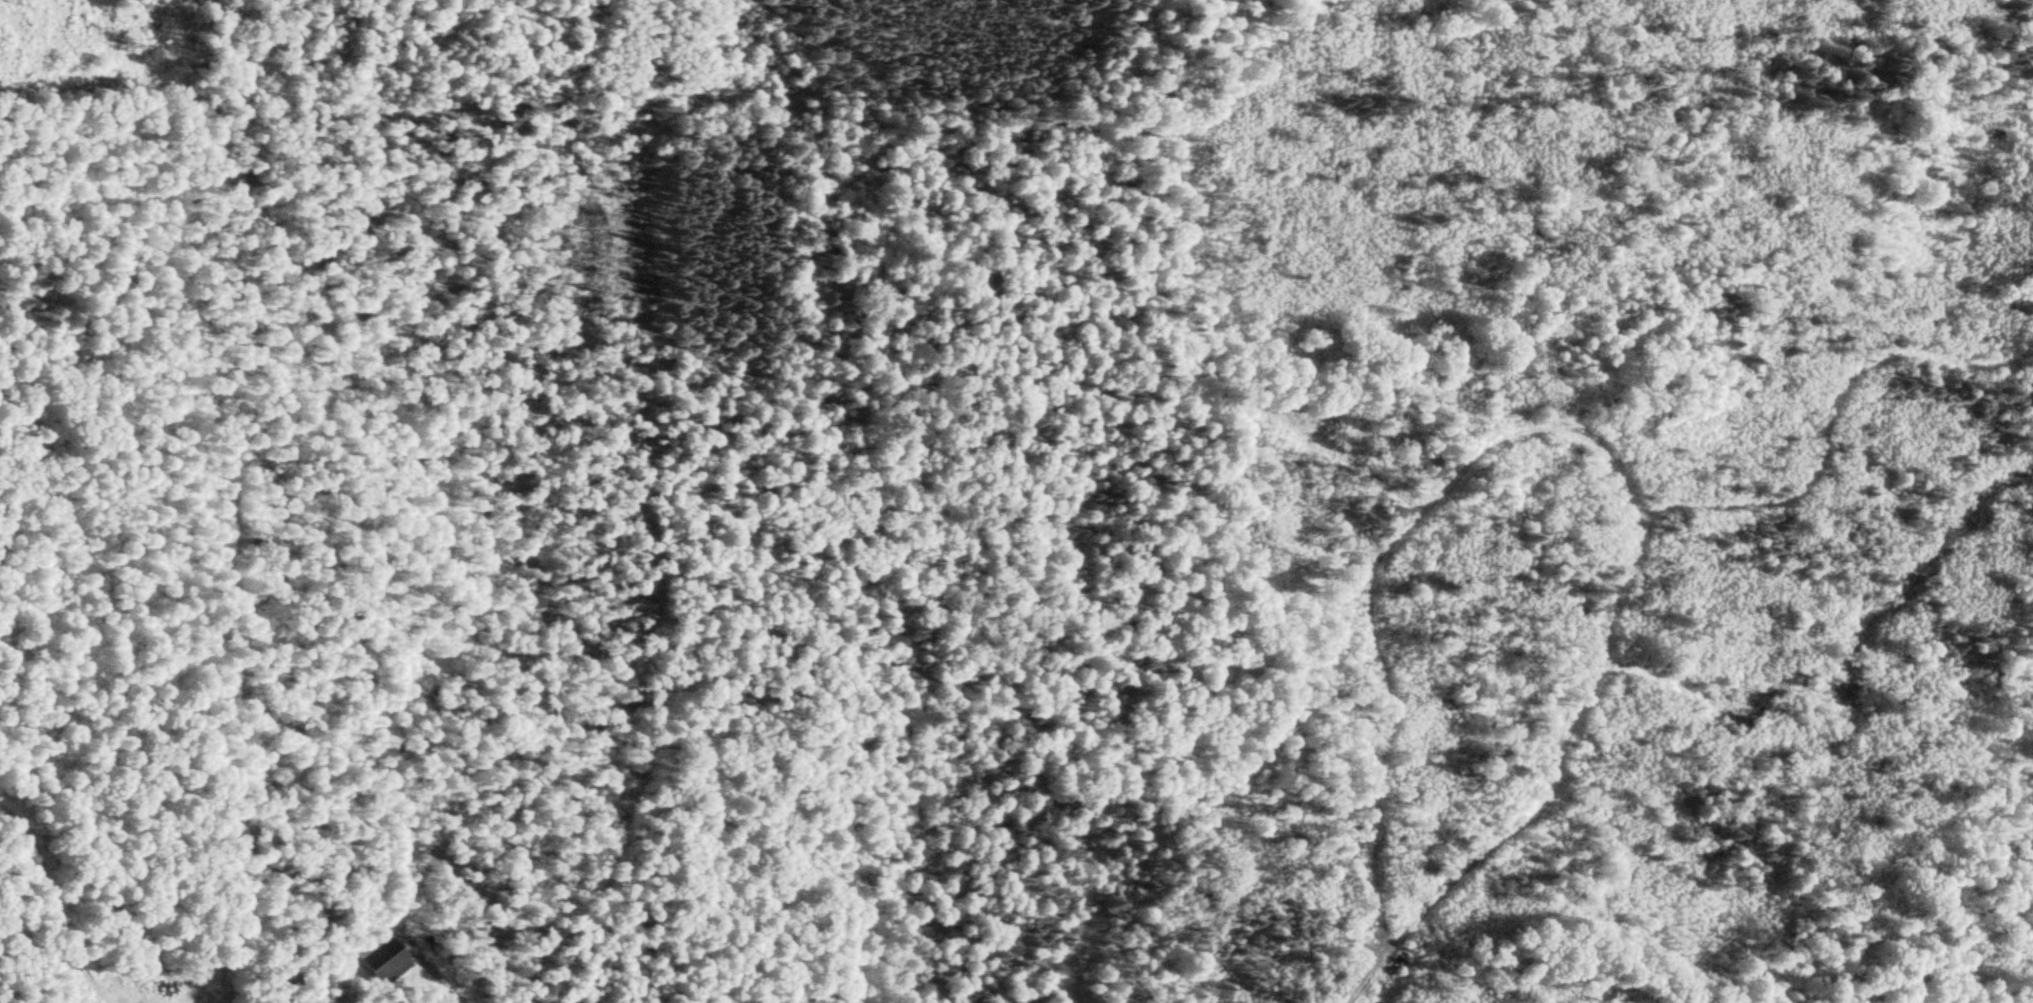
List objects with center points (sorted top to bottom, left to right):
building: (382, 963)

